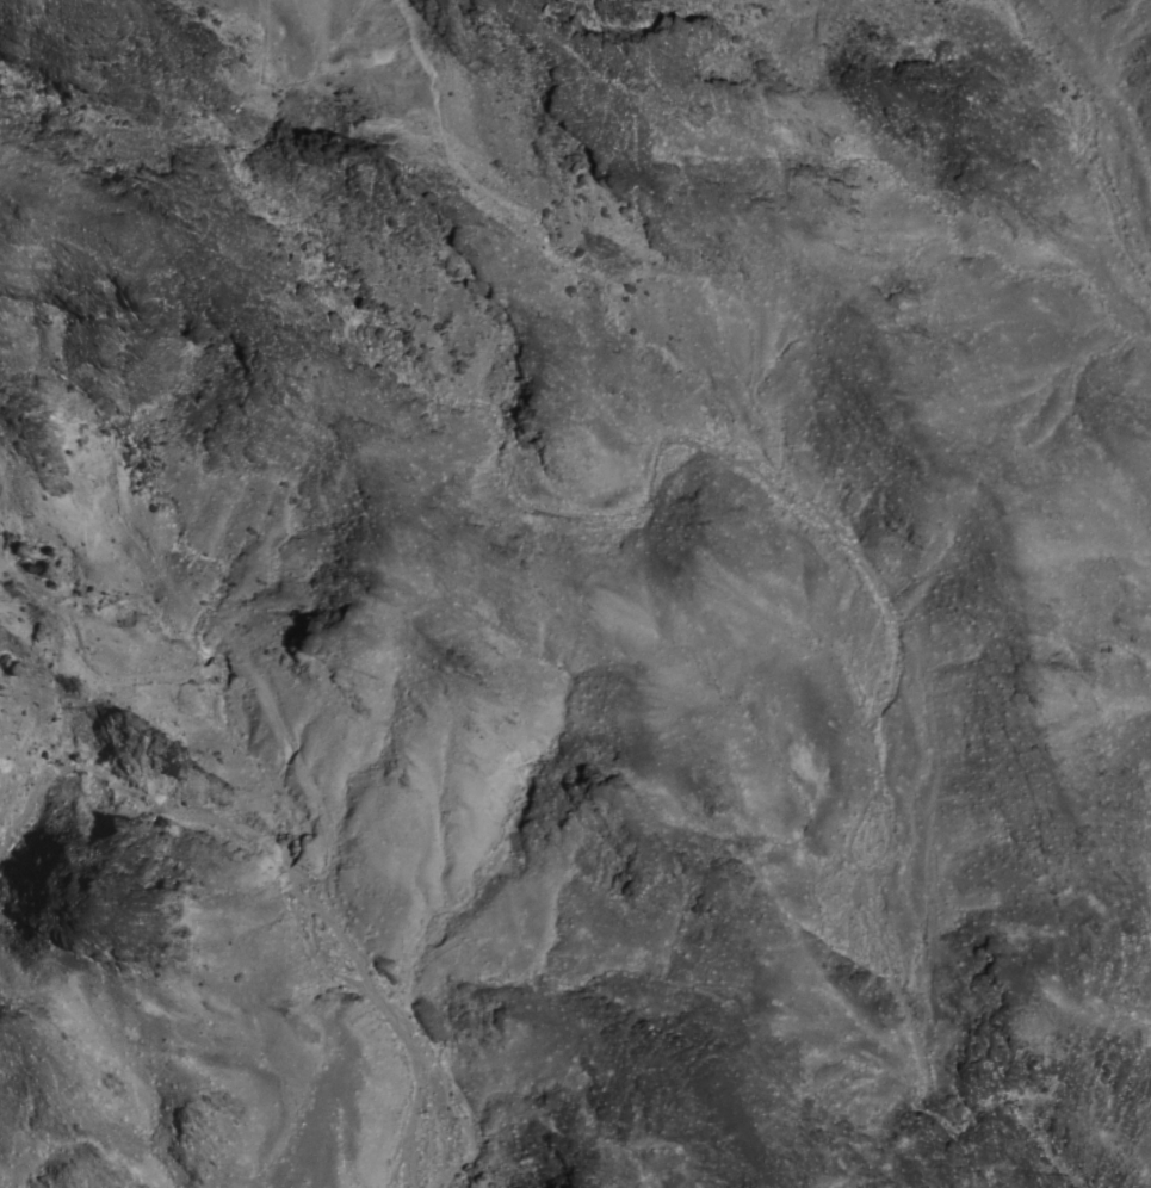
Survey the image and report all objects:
road: (296, 1025)

